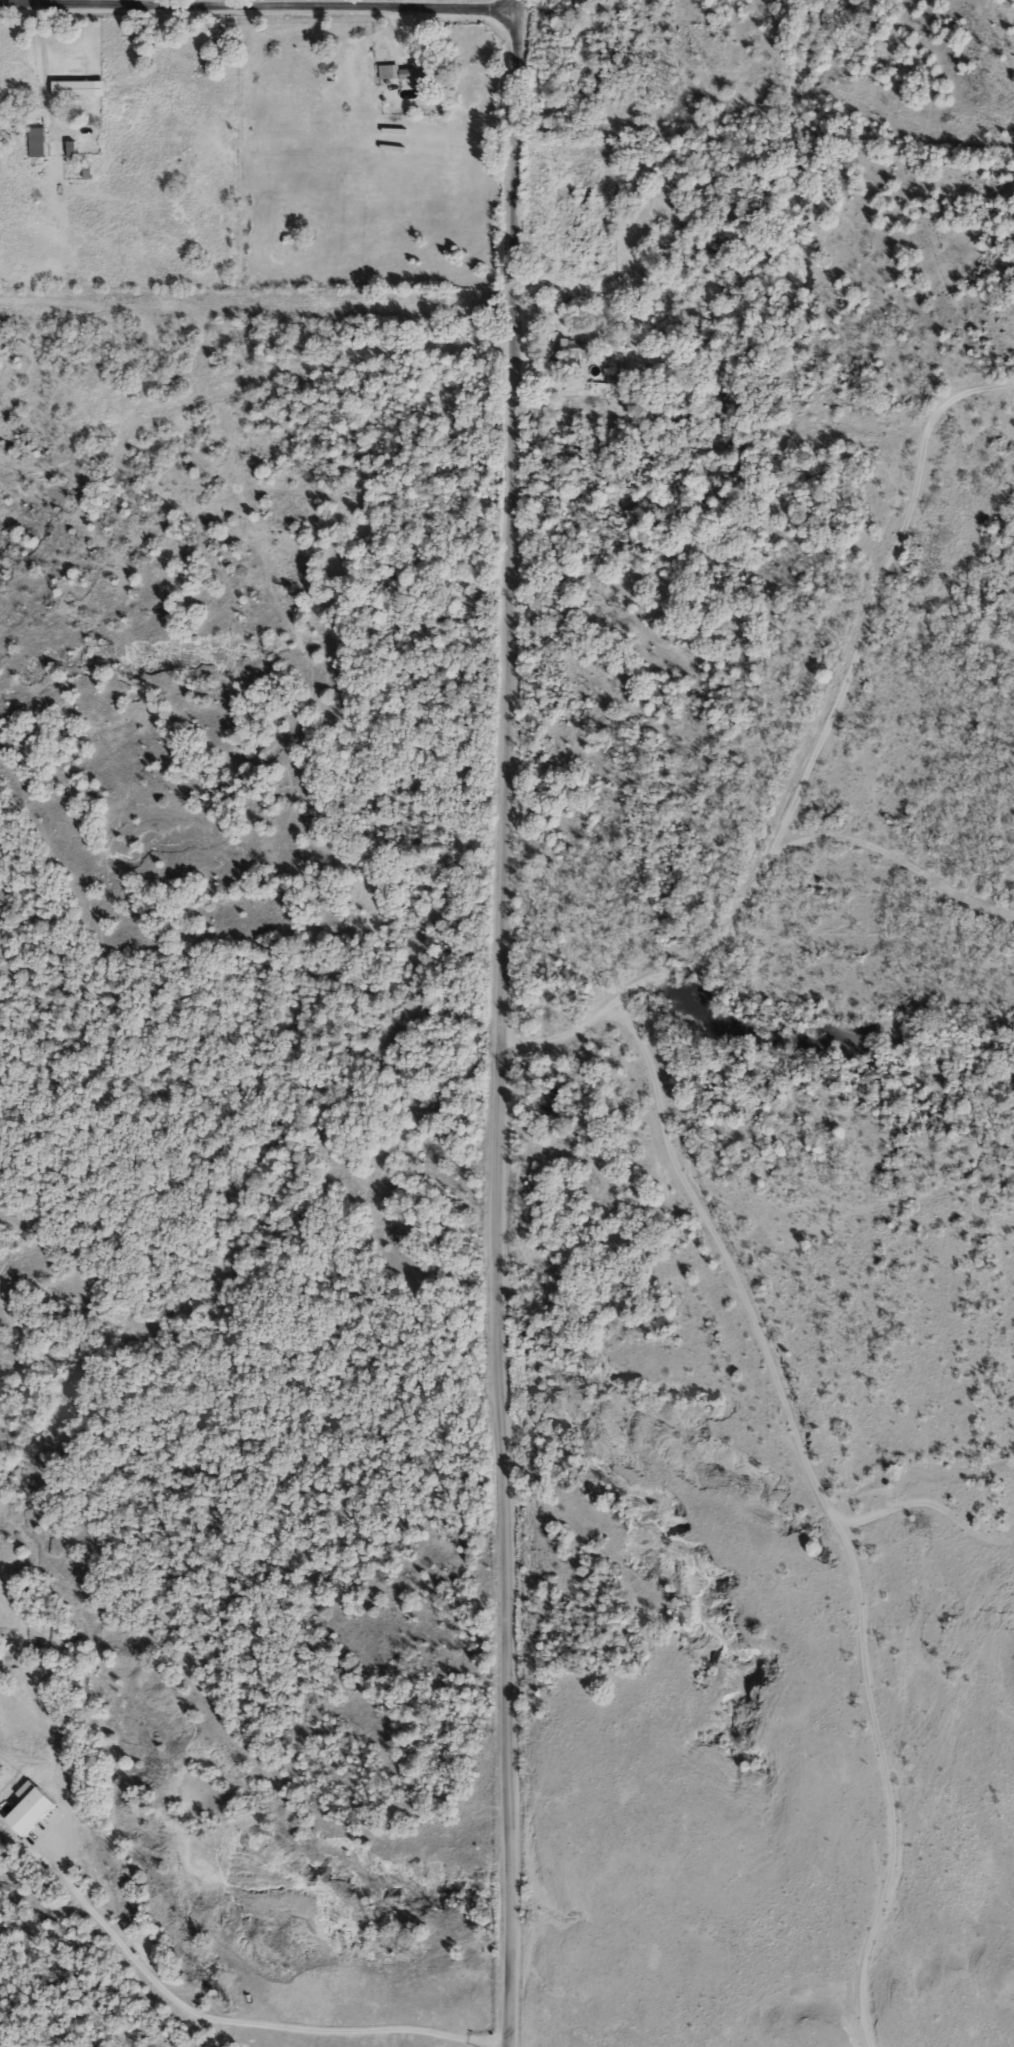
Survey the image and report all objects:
road: (279, 3)
building: (109, 47)
road: (44, 59)
building: (403, 72)
building: (76, 89)
building: (34, 143)
building: (561, 348)
road: (361, 355)
road: (814, 758)
road: (901, 857)
road: (503, 1023)
road: (261, 2027)

